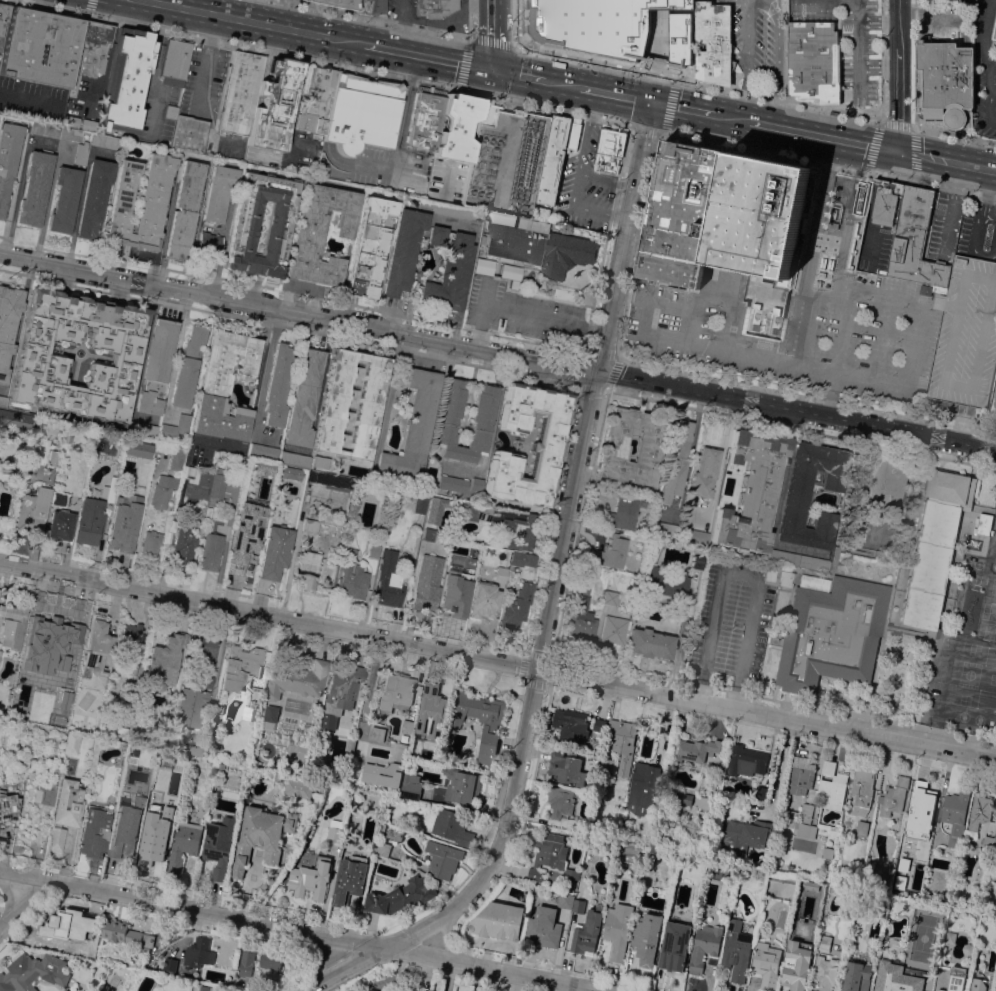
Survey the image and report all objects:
building: (336, 3)
building: (371, 6)
building: (434, 7)
parking lot: (401, 10)
road: (401, 12)
road: (279, 13)
building: (995, 13)
road: (470, 18)
road: (372, 19)
road: (516, 20)
building: (3, 21)
road: (255, 21)
road: (985, 30)
building: (994, 30)
road: (492, 33)
road: (399, 37)
parking lot: (847, 37)
road: (469, 39)
building: (713, 41)
parking lot: (754, 45)
building: (40, 47)
building: (90, 52)
road: (426, 55)
road: (661, 56)
building: (175, 59)
road: (745, 59)
road: (992, 59)
road: (880, 60)
road: (203, 61)
road: (321, 61)
road: (776, 61)
building: (814, 61)
traffic signals: (488, 67)
parking lot: (984, 71)
road: (153, 73)
road: (517, 73)
road: (898, 75)
building: (126, 80)
road: (563, 82)
building: (945, 82)
road: (697, 84)
road: (992, 90)
building: (240, 92)
road: (615, 93)
road: (989, 93)
building: (316, 99)
traffic signals: (651, 101)
building: (274, 106)
road: (682, 106)
road: (913, 108)
building: (170, 112)
building: (362, 113)
road: (404, 114)
building: (486, 114)
building: (0, 116)
road: (731, 116)
building: (426, 118)
building: (72, 119)
road: (664, 119)
road: (896, 122)
building: (90, 127)
building: (456, 128)
building: (44, 129)
building: (69, 133)
building: (189, 133)
road: (822, 135)
building: (105, 141)
building: (609, 147)
building: (81, 153)
building: (557, 155)
road: (921, 155)
building: (8, 158)
power substation: (508, 163)
road: (828, 165)
road: (971, 166)
road: (576, 176)
road: (605, 179)
parking lot: (584, 186)
building: (35, 187)
building: (218, 192)
building: (94, 198)
building: (64, 199)
building: (140, 202)
building: (887, 202)
road: (950, 207)
building: (184, 210)
building: (453, 210)
building: (542, 213)
building: (682, 213)
building: (757, 215)
building: (278, 221)
building: (554, 225)
road: (609, 225)
parking lot: (940, 228)
parking lot: (977, 230)
building: (320, 232)
building: (436, 235)
building: (482, 239)
building: (915, 240)
building: (209, 242)
parking lot: (875, 242)
road: (222, 245)
building: (370, 246)
building: (540, 248)
building: (403, 251)
building: (484, 266)
building: (511, 274)
building: (450, 275)
building: (926, 289)
parking lot: (811, 311)
road: (525, 314)
parking lot: (523, 315)
building: (8, 326)
parking lot: (965, 334)
building: (966, 335)
road: (723, 350)
road: (497, 353)
building: (38, 356)
building: (156, 366)
building: (188, 367)
road: (694, 375)
building: (225, 385)
building: (278, 385)
road: (391, 390)
building: (304, 397)
building: (3, 401)
building: (993, 403)
parking lot: (993, 403)
building: (369, 405)
building: (15, 418)
building: (482, 419)
building: (413, 423)
building: (176, 427)
building: (144, 429)
building: (68, 438)
building: (545, 446)
building: (263, 451)
building: (647, 452)
building: (53, 457)
building: (178, 457)
building: (294, 459)
building: (320, 462)
building: (675, 462)
building: (258, 465)
building: (291, 473)
building: (705, 473)
building: (330, 480)
building: (218, 482)
building: (197, 483)
building: (452, 483)
building: (877, 483)
building: (476, 485)
building: (111, 488)
building: (751, 489)
building: (162, 491)
building: (59, 498)
building: (796, 501)
building: (420, 503)
building: (136, 504)
building: (462, 506)
building: (293, 509)
building: (33, 510)
building: (207, 512)
building: (478, 512)
building: (623, 512)
building: (90, 520)
building: (59, 524)
building: (985, 524)
building: (243, 526)
building: (310, 526)
building: (856, 527)
building: (663, 528)
building: (520, 531)
building: (428, 534)
building: (694, 535)
building: (120, 536)
building: (151, 543)
building: (184, 544)
building: (935, 546)
building: (373, 550)
building: (275, 551)
building: (211, 552)
building: (611, 552)
building: (522, 558)
building: (248, 560)
building: (798, 560)
road: (221, 561)
building: (697, 561)
building: (408, 563)
building: (307, 567)
building: (500, 573)
building: (351, 575)
building: (387, 580)
building: (664, 580)
building: (813, 582)
building: (427, 583)
road: (757, 583)
building: (455, 589)
road: (553, 596)
building: (609, 597)
building: (484, 600)
building: (517, 604)
building: (581, 614)
road: (269, 619)
building: (55, 621)
building: (13, 623)
parking lot: (730, 627)
building: (613, 629)
building: (831, 634)
road: (680, 636)
building: (129, 638)
building: (650, 643)
building: (98, 647)
building: (202, 650)
building: (72, 659)
building: (162, 663)
building: (240, 667)
building: (135, 668)
building: (296, 678)
building: (202, 680)
building: (396, 692)
building: (340, 693)
building: (256, 695)
building: (191, 707)
building: (220, 708)
building: (429, 711)
road: (739, 712)
building: (54, 716)
building: (30, 717)
building: (269, 717)
building: (162, 720)
building: (600, 724)
building: (571, 725)
building: (490, 726)
building: (110, 729)
building: (377, 733)
building: (71, 743)
building: (623, 743)
building: (350, 745)
building: (194, 748)
building: (698, 749)
road: (968, 756)
building: (404, 757)
building: (747, 760)
building: (213, 763)
building: (24, 764)
building: (609, 764)
building: (223, 765)
building: (567, 767)
road: (779, 767)
building: (383, 773)
building: (800, 775)
building: (158, 783)
building: (716, 783)
building: (411, 786)
building: (462, 786)
building: (832, 786)
building: (299, 788)
building: (643, 788)
building: (862, 790)
building: (44, 793)
building: (761, 793)
building: (893, 796)
building: (683, 798)
building: (560, 801)
building: (703, 802)
building: (8, 805)
building: (919, 808)
building: (122, 809)
building: (64, 812)
building: (806, 812)
building: (979, 812)
building: (790, 815)
building: (956, 815)
building: (581, 825)
building: (452, 826)
building: (382, 828)
building: (862, 828)
building: (160, 829)
building: (335, 829)
building: (806, 830)
building: (94, 832)
building: (395, 833)
building: (748, 835)
building: (262, 836)
building: (987, 841)
building: (995, 843)
building: (185, 844)
building: (124, 845)
building: (219, 845)
building: (383, 848)
building: (17, 850)
building: (828, 853)
building: (552, 858)
building: (443, 859)
building: (773, 864)
building: (311, 878)
building: (350, 879)
building: (401, 896)
building: (566, 900)
building: (579, 905)
road: (24, 909)
building: (499, 921)
building: (71, 927)
building: (544, 929)
building: (618, 929)
road: (287, 931)
building: (125, 933)
building: (587, 933)
building: (646, 937)
building: (950, 937)
building: (824, 943)
road: (447, 946)
building: (675, 946)
building: (705, 946)
building: (736, 950)
building: (943, 950)
building: (199, 952)
building: (270, 958)
building: (796, 959)
building: (248, 963)
building: (170, 964)
building: (767, 964)
building: (35, 972)
building: (825, 974)
building: (857, 976)
building: (896, 978)
building: (956, 979)
building: (977, 984)
building: (204, 988)
building: (373, 989)
building: (412, 990)

